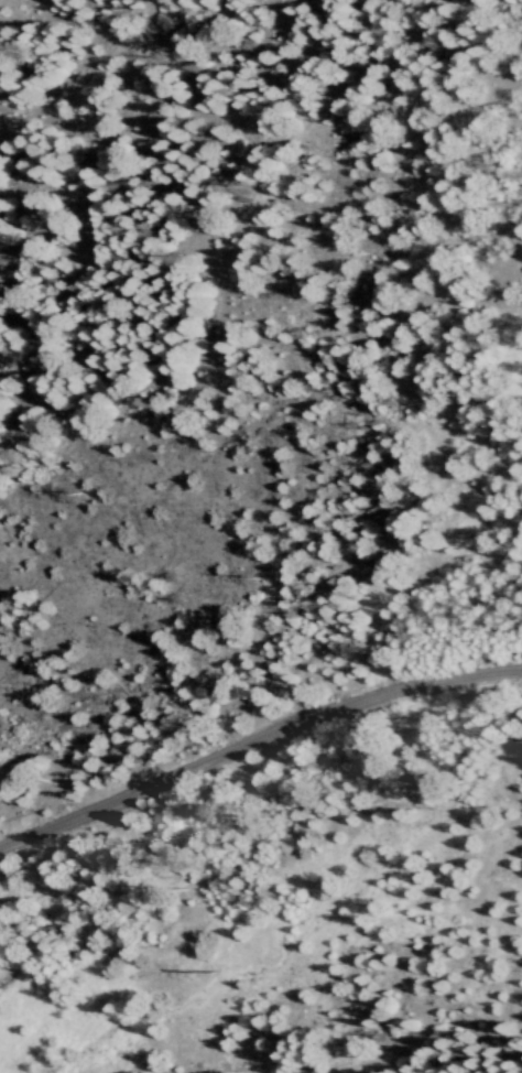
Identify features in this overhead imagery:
road: (254, 736)

